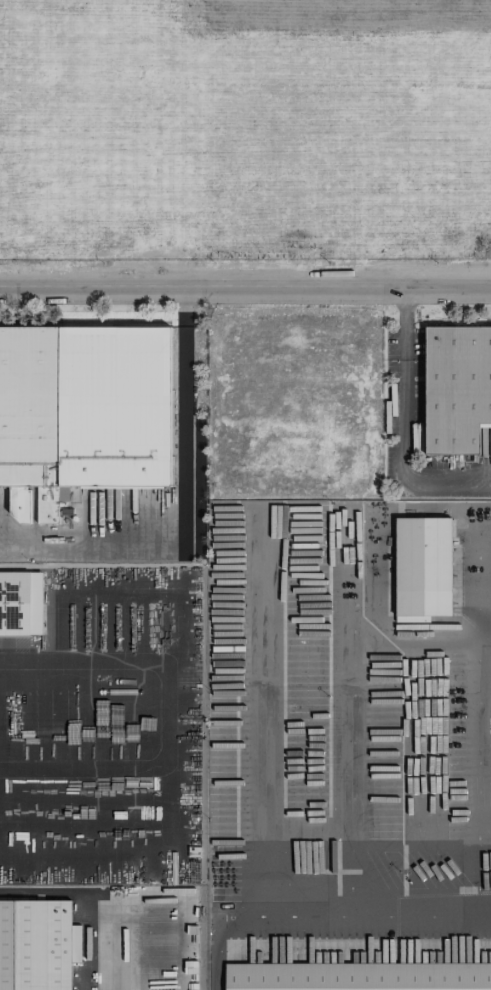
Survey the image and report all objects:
road: (245, 289)
building: (456, 388)
building: (82, 413)
road: (403, 424)
building: (63, 505)
road: (183, 505)
road: (417, 510)
building: (422, 568)
building: (20, 604)
road: (416, 646)
road: (167, 713)
road: (482, 714)
road: (351, 716)
road: (120, 857)
road: (95, 899)
road: (355, 914)
building: (35, 945)
road: (220, 960)
building: (358, 976)

